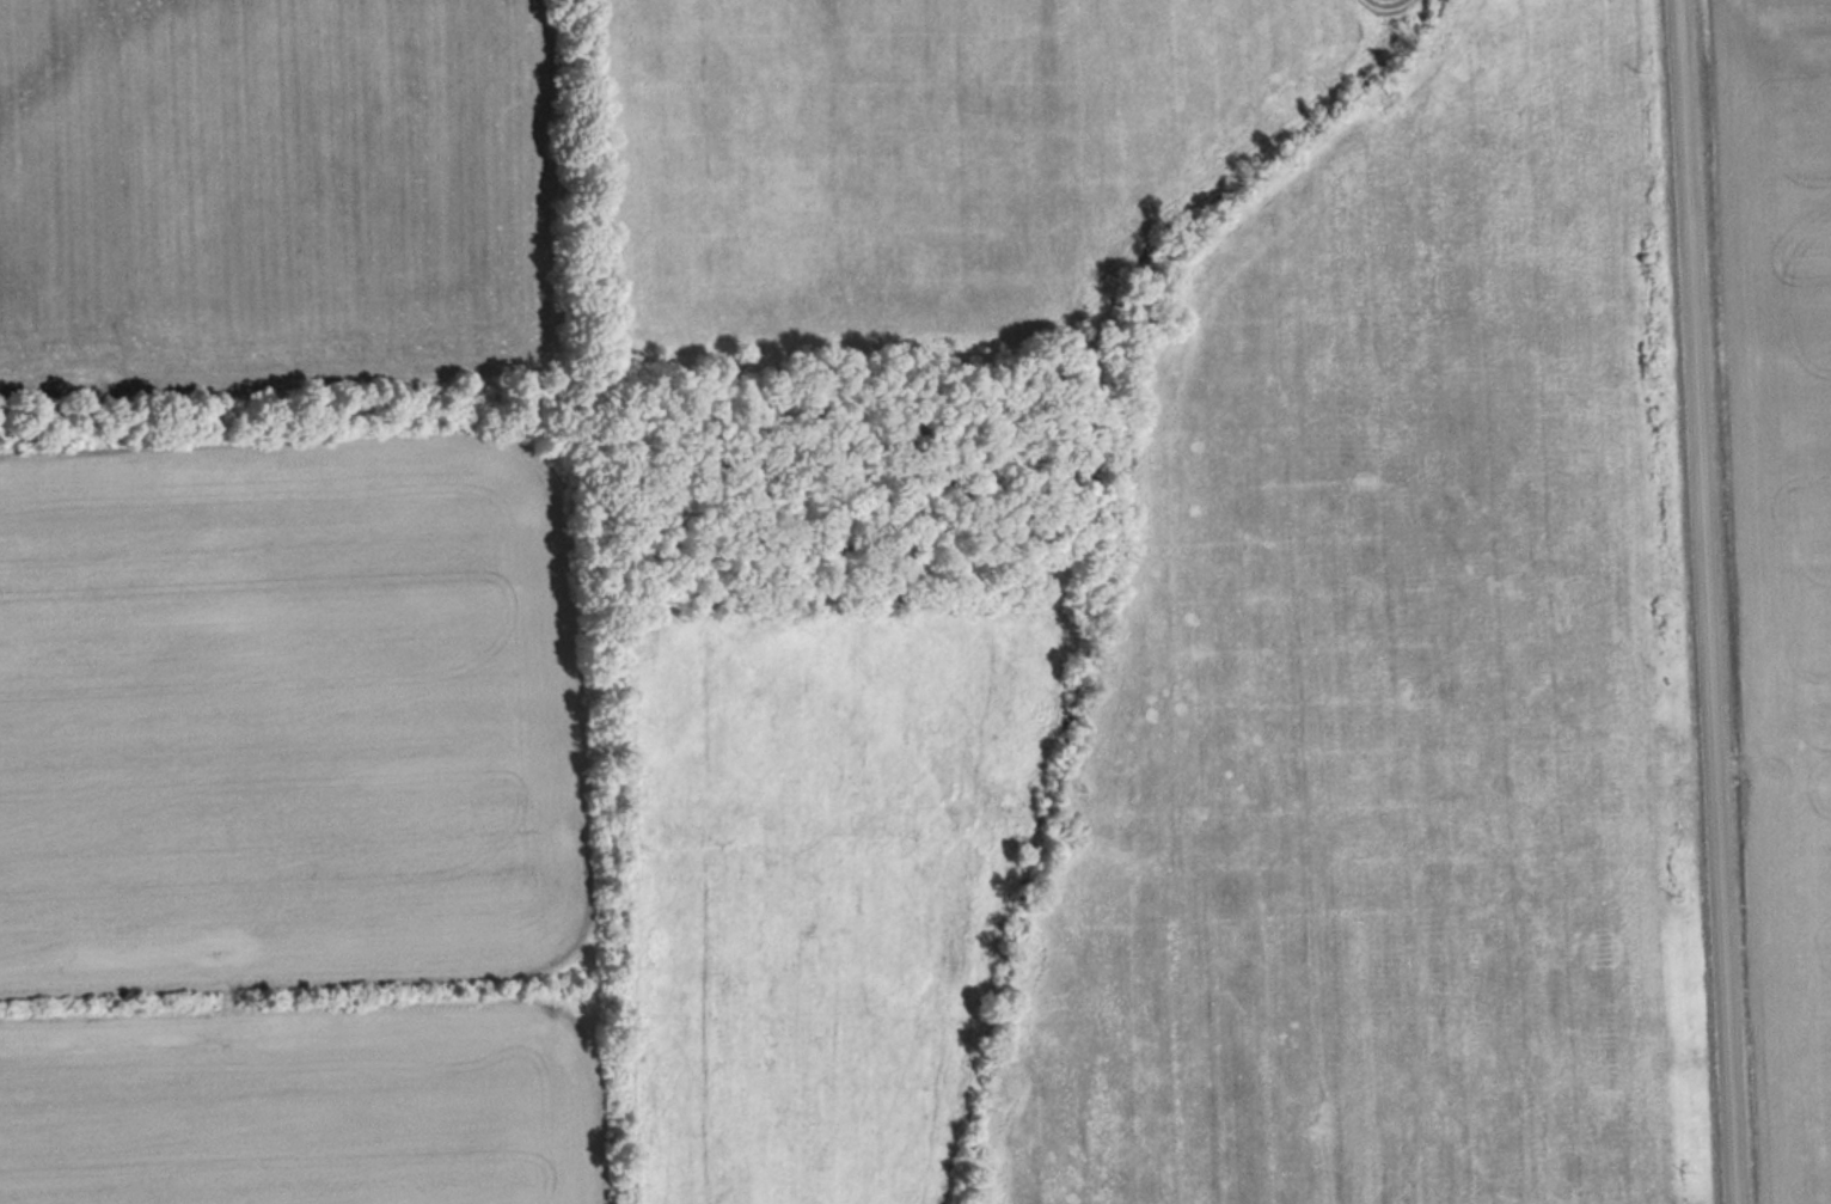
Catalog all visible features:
road: (1700, 601)

